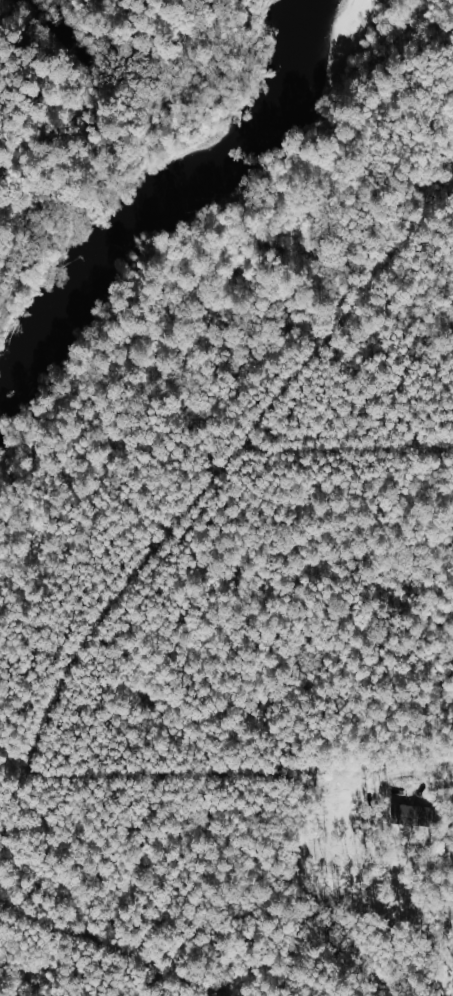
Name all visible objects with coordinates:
river: (150, 189)
road: (352, 320)
road: (352, 445)
road: (126, 595)
road: (241, 771)
road: (64, 920)

